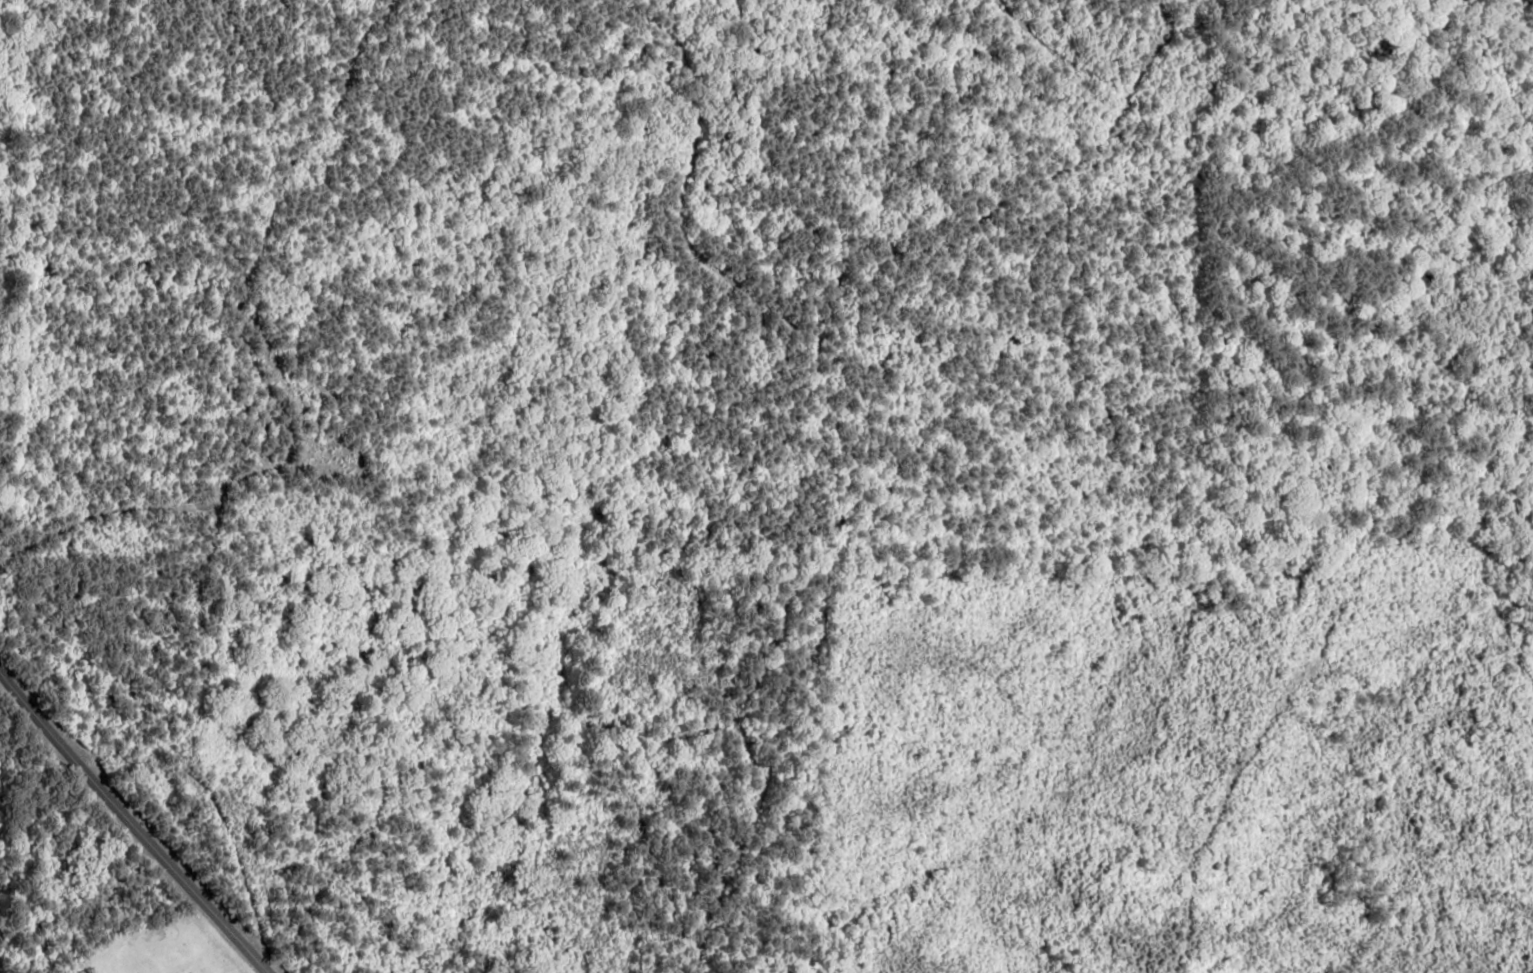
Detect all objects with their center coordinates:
road: (102, 849)
building: (193, 972)

